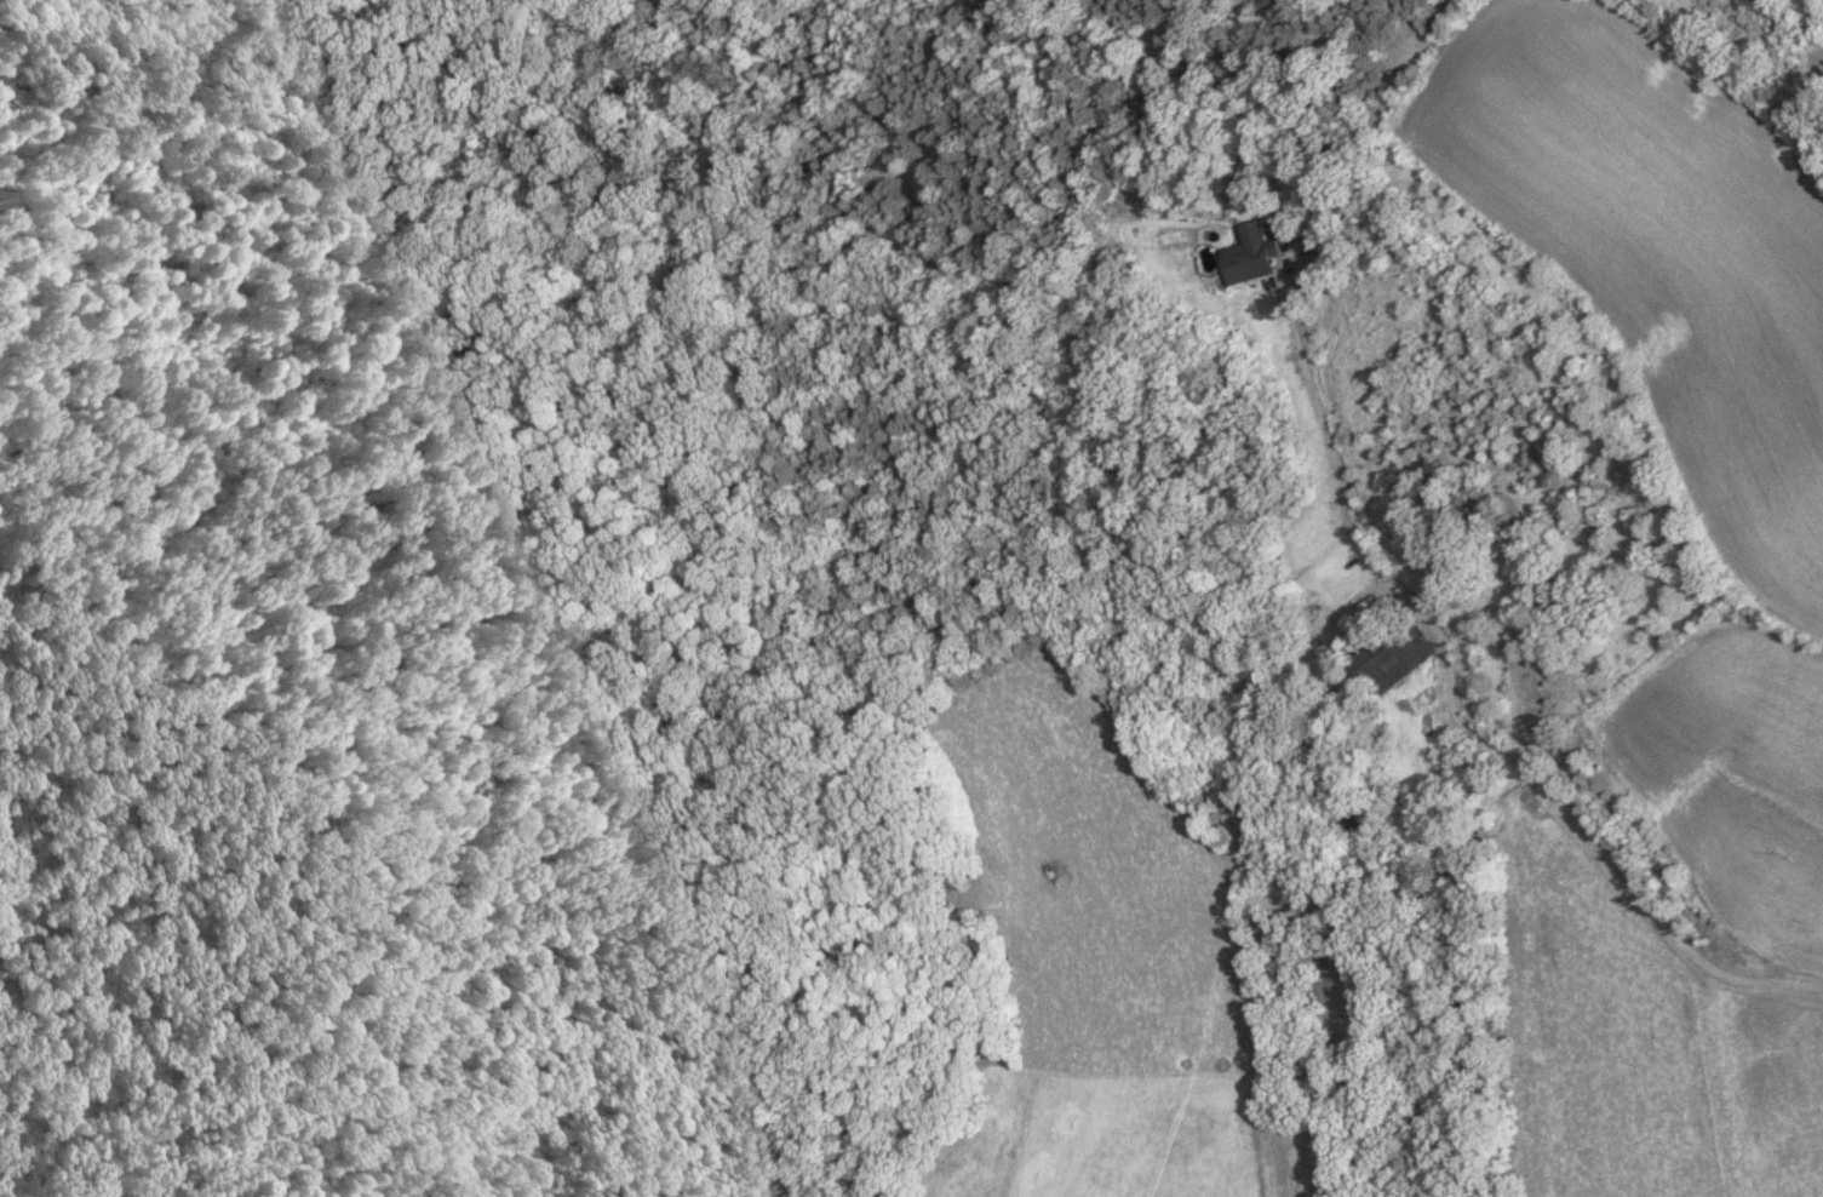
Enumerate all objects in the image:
building: (1252, 254)
road: (1334, 614)
building: (1391, 658)
road: (1461, 721)

